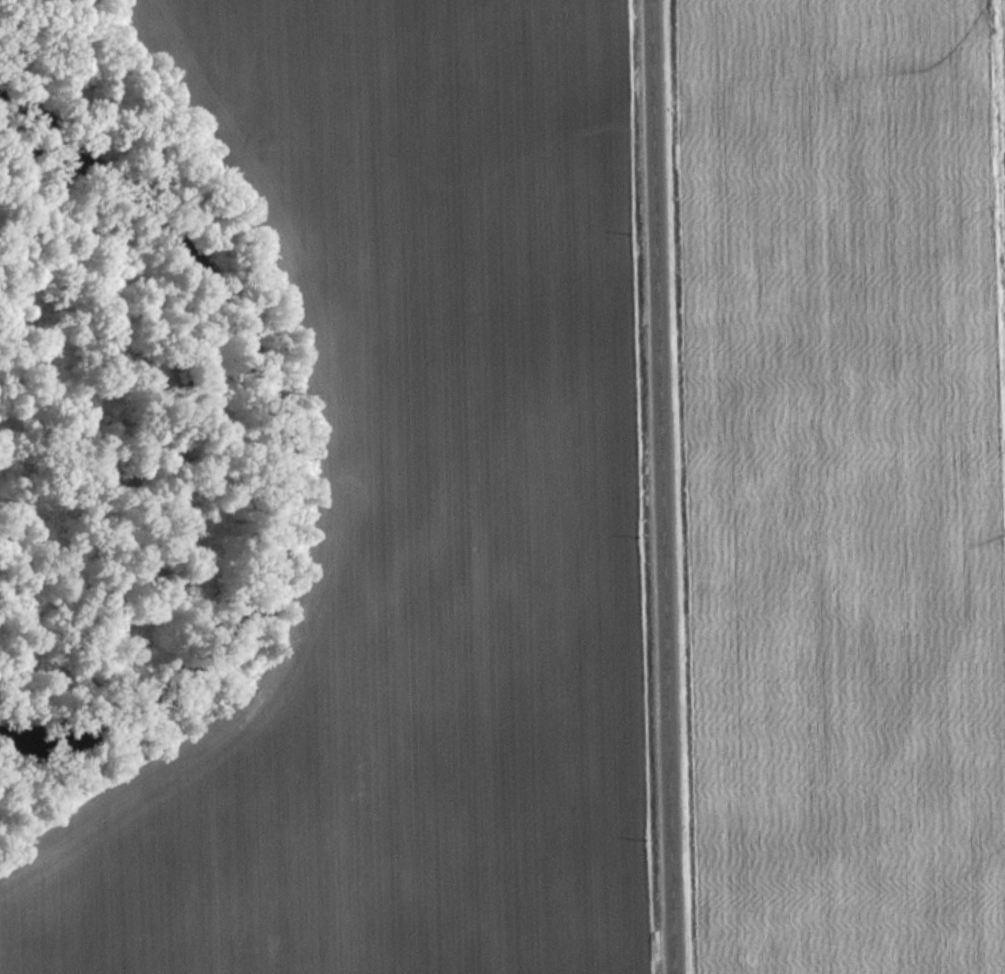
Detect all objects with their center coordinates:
river: (221, 413)
road: (673, 486)

